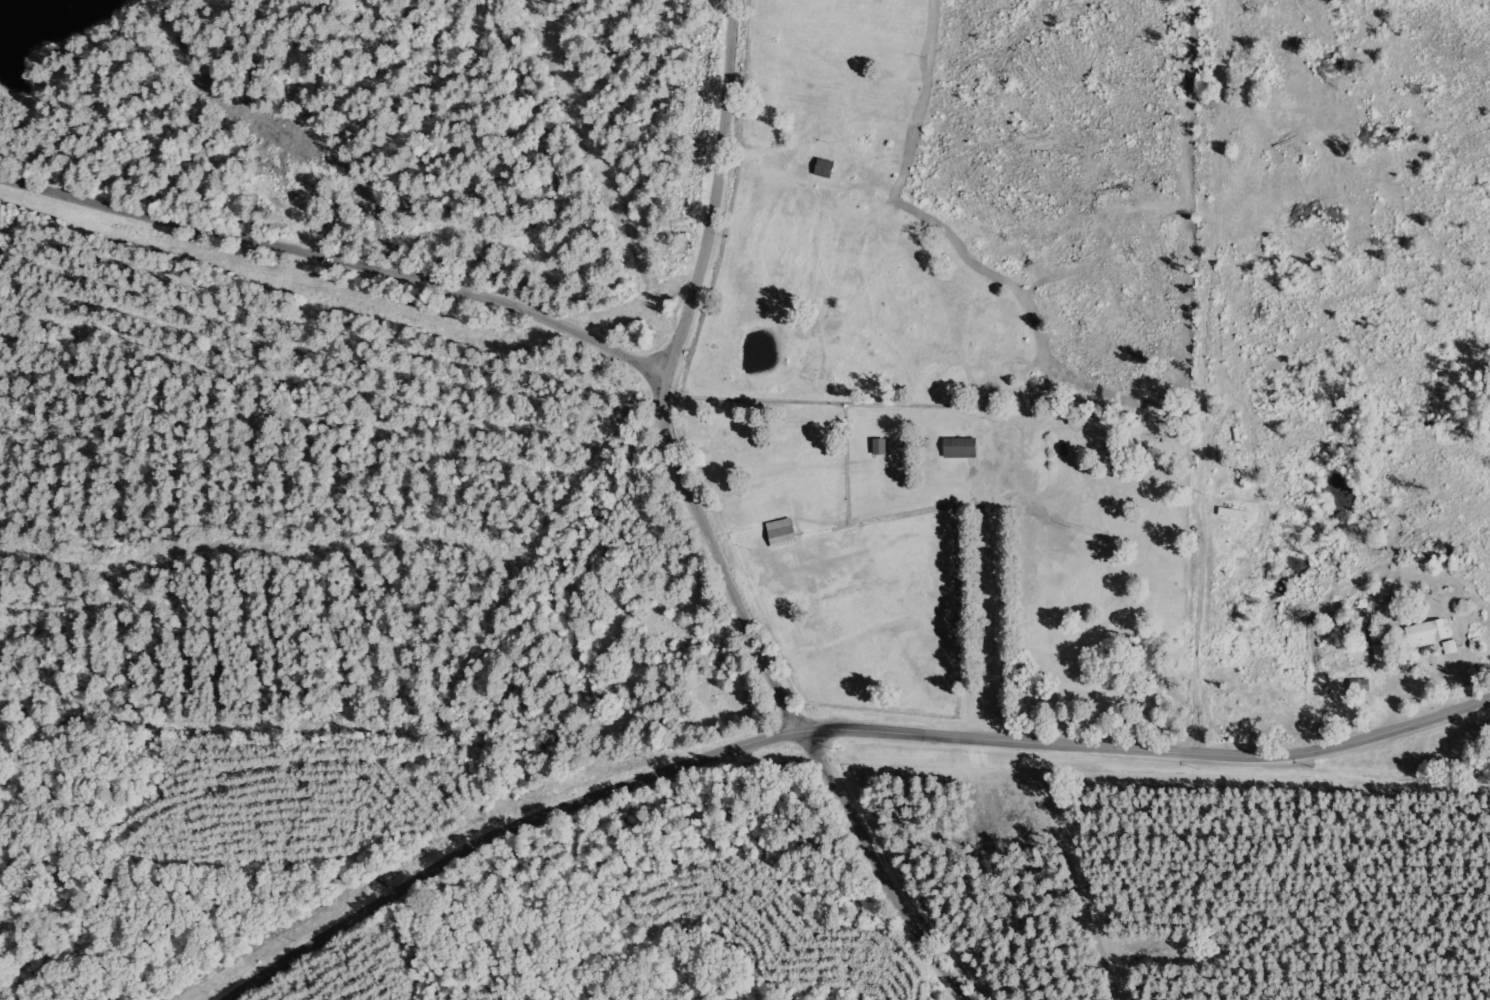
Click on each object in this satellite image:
road: (352, 270)
road: (728, 532)
road: (837, 723)

